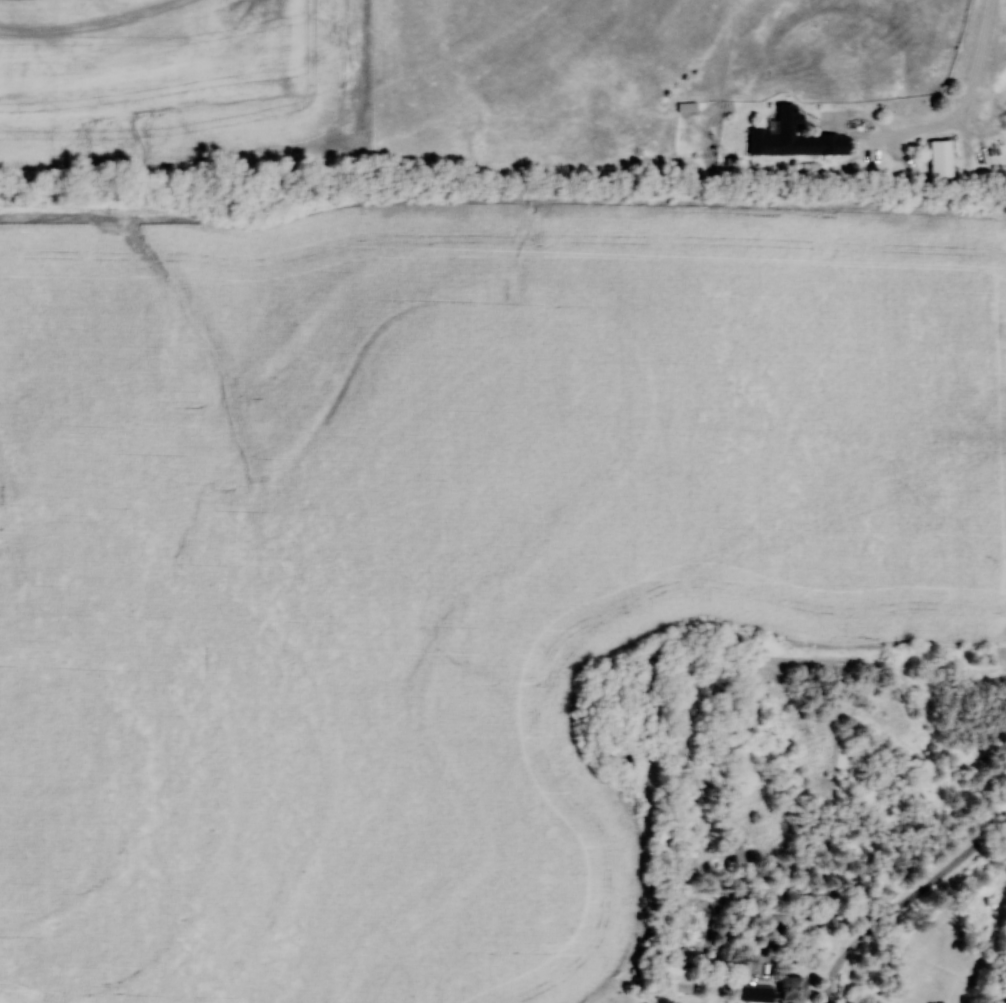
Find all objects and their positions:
road: (969, 95)
building: (686, 107)
road: (841, 122)
building: (786, 143)
building: (941, 159)
road: (904, 903)
building: (679, 983)
building: (778, 991)

